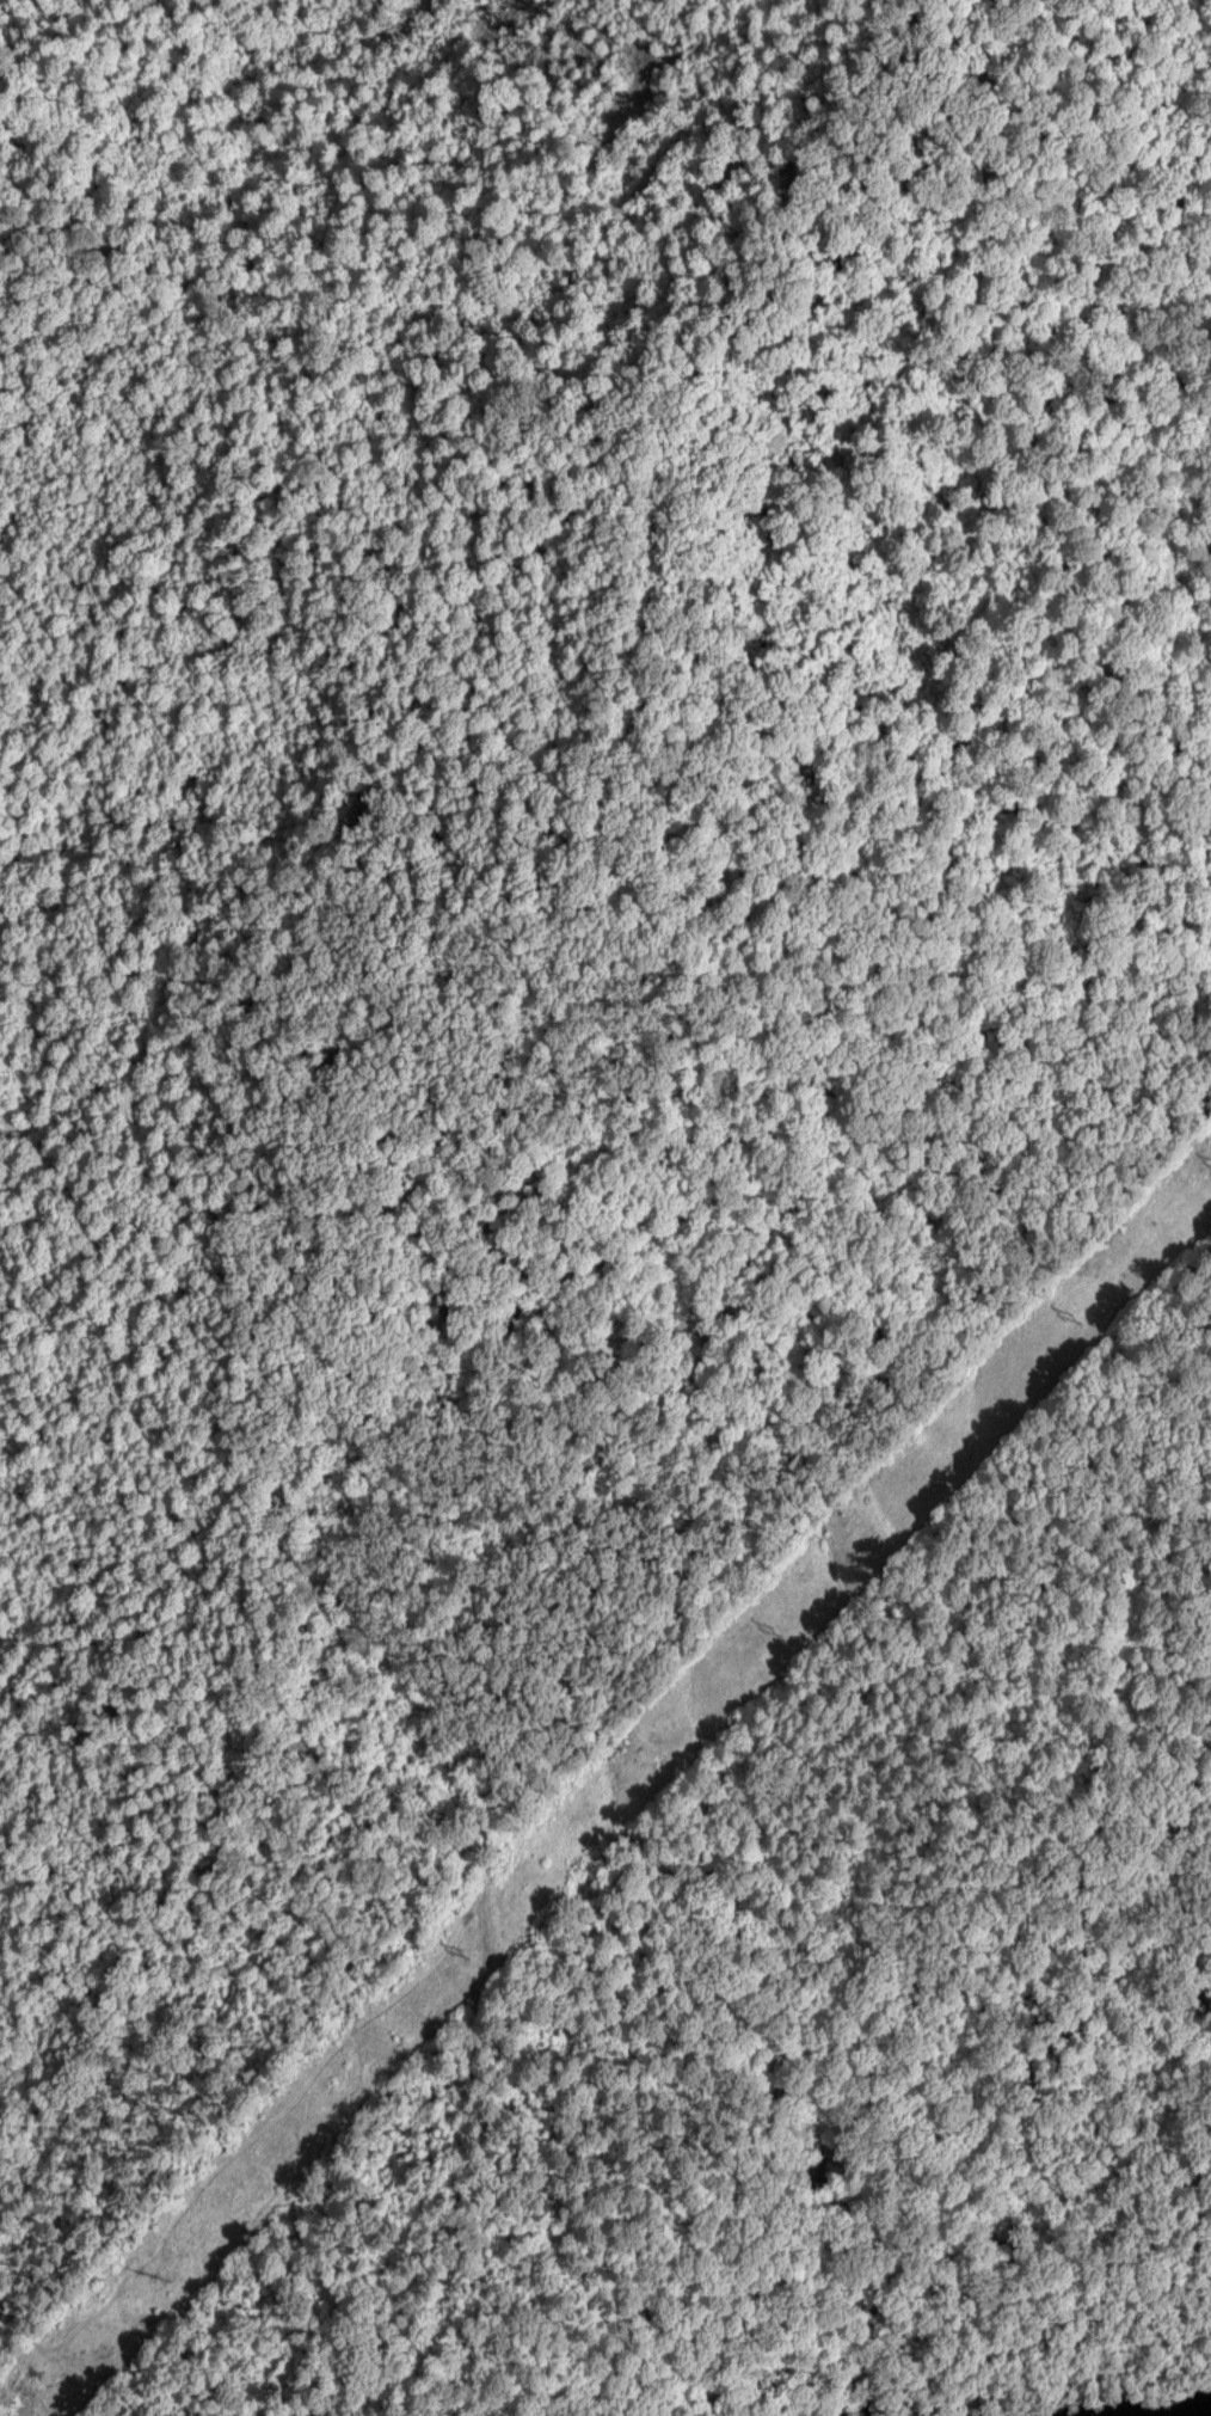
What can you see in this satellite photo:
power tower: (465, 1944)
road: (321, 2375)

